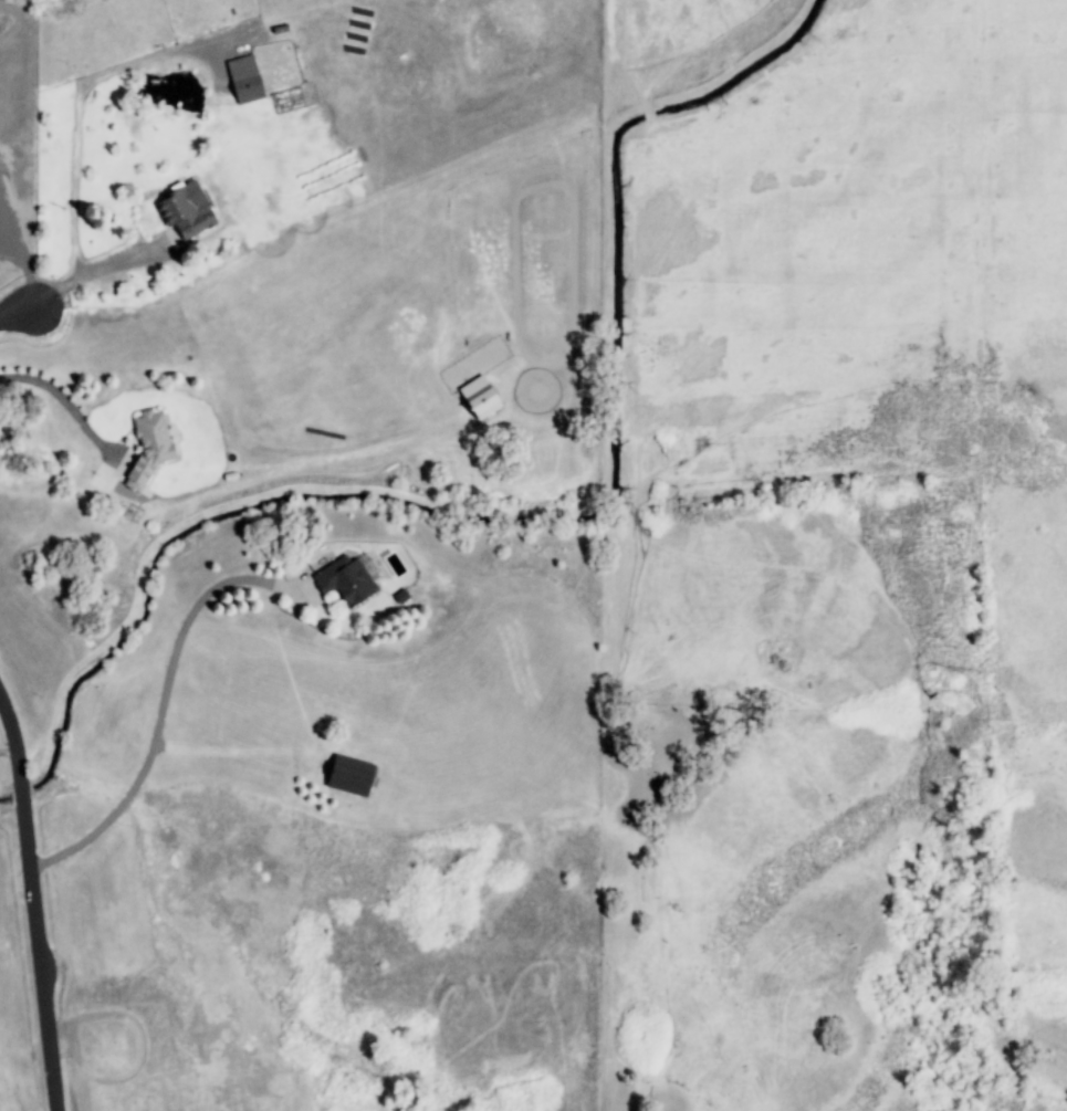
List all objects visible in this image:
building: (244, 80)
road: (76, 116)
building: (185, 210)
road: (90, 270)
road: (21, 311)
building: (479, 398)
road: (63, 399)
building: (148, 449)
building: (343, 581)
road: (158, 725)
road: (11, 753)
building: (349, 776)
road: (30, 898)

